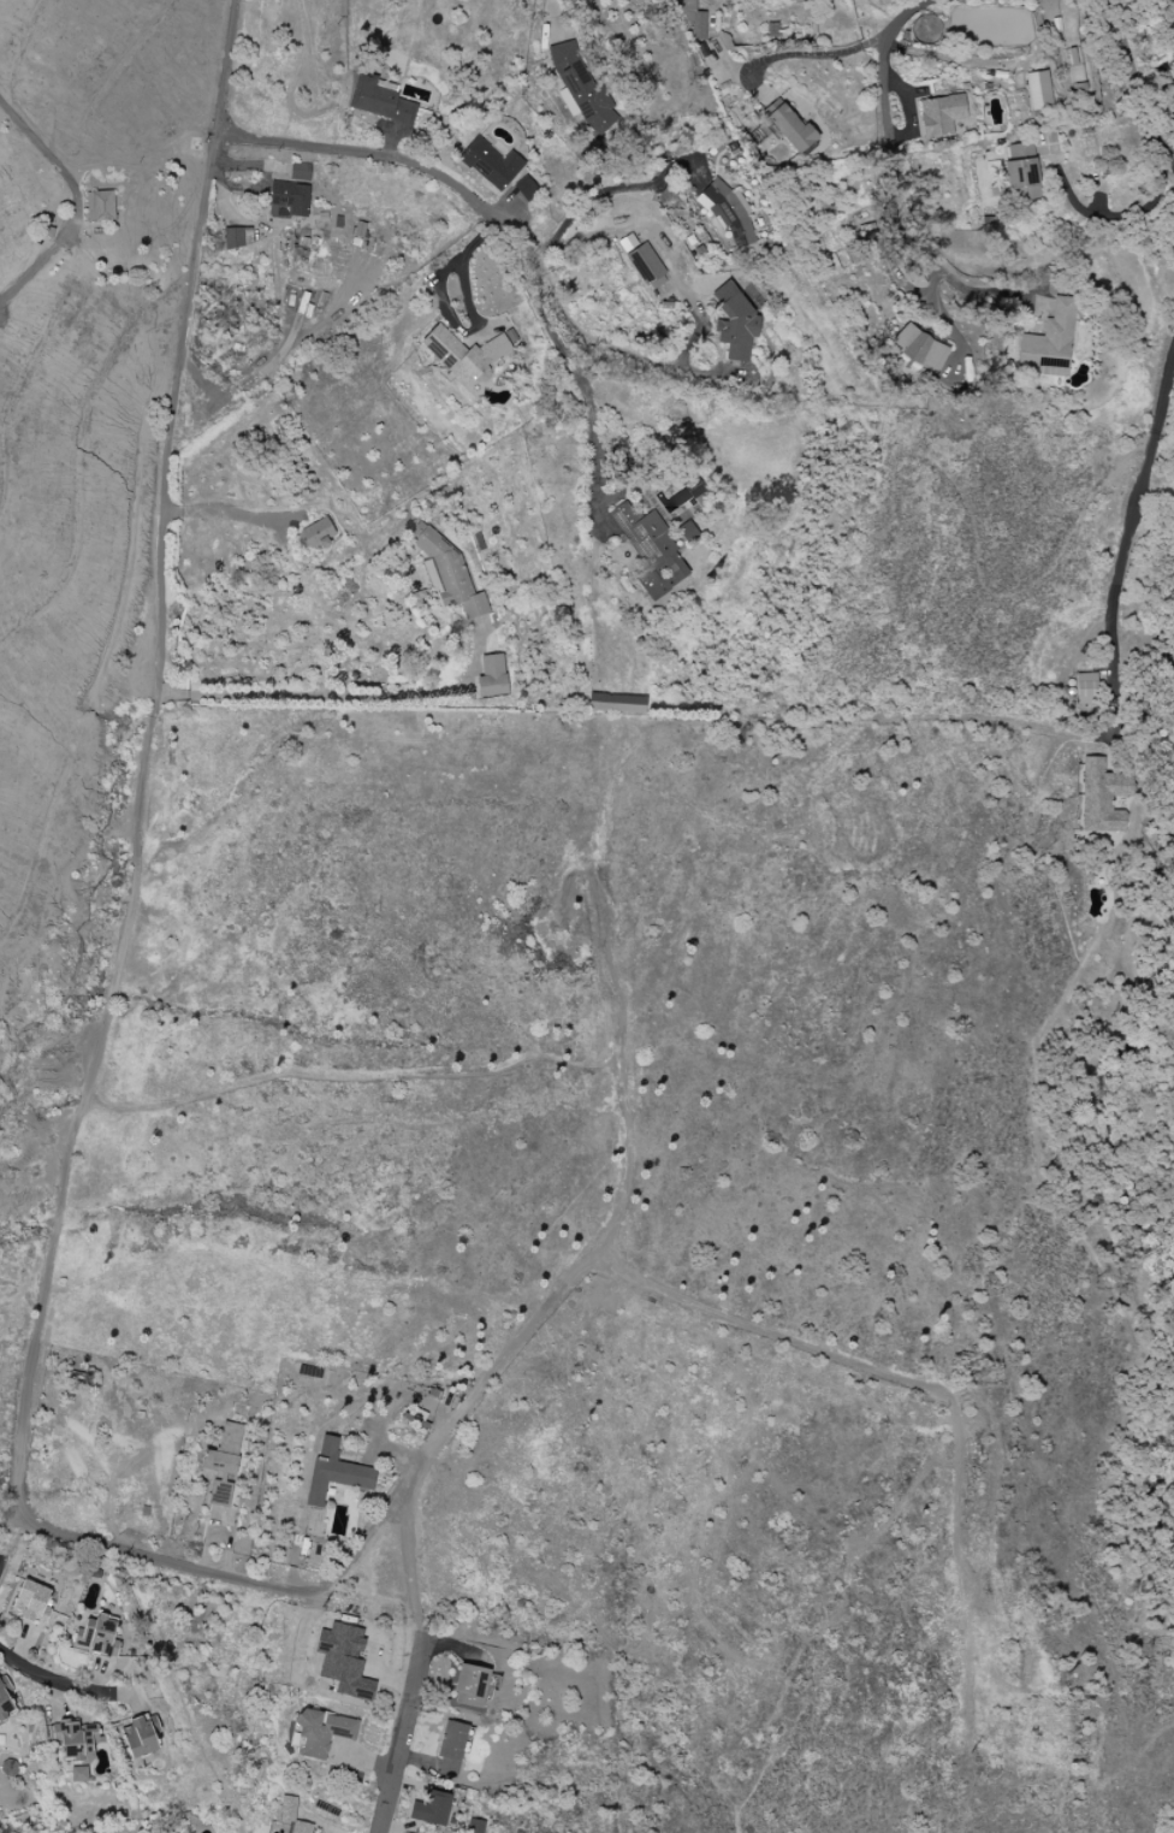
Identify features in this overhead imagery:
road: (905, 16)
road: (553, 17)
building: (693, 19)
road: (814, 55)
road: (1139, 77)
building: (1038, 90)
building: (380, 101)
building: (941, 116)
building: (791, 129)
road: (42, 147)
road: (900, 153)
building: (490, 164)
building: (300, 171)
building: (1021, 173)
building: (524, 189)
road: (611, 189)
building: (289, 200)
building: (100, 207)
building: (727, 211)
road: (1108, 215)
road: (497, 231)
building: (237, 237)
building: (628, 243)
building: (646, 266)
road: (983, 291)
road: (445, 312)
road: (943, 319)
building: (734, 323)
building: (1050, 343)
building: (918, 348)
building: (464, 355)
road: (686, 356)
road: (249, 374)
building: (318, 534)
building: (651, 551)
building: (492, 676)
building: (1086, 688)
road: (339, 697)
building: (616, 703)
road: (1073, 735)
building: (1102, 797)
road: (129, 916)
building: (223, 1464)
building: (334, 1472)
road: (407, 1522)
road: (1, 1537)
building: (32, 1602)
building: (97, 1636)
road: (7, 1658)
building: (343, 1661)
road: (63, 1683)
building: (470, 1686)
building: (5, 1705)
building: (320, 1732)
building: (140, 1736)
building: (78, 1739)
building: (451, 1749)
road: (392, 1758)
building: (78, 1774)
building: (287, 1809)
building: (431, 1809)

